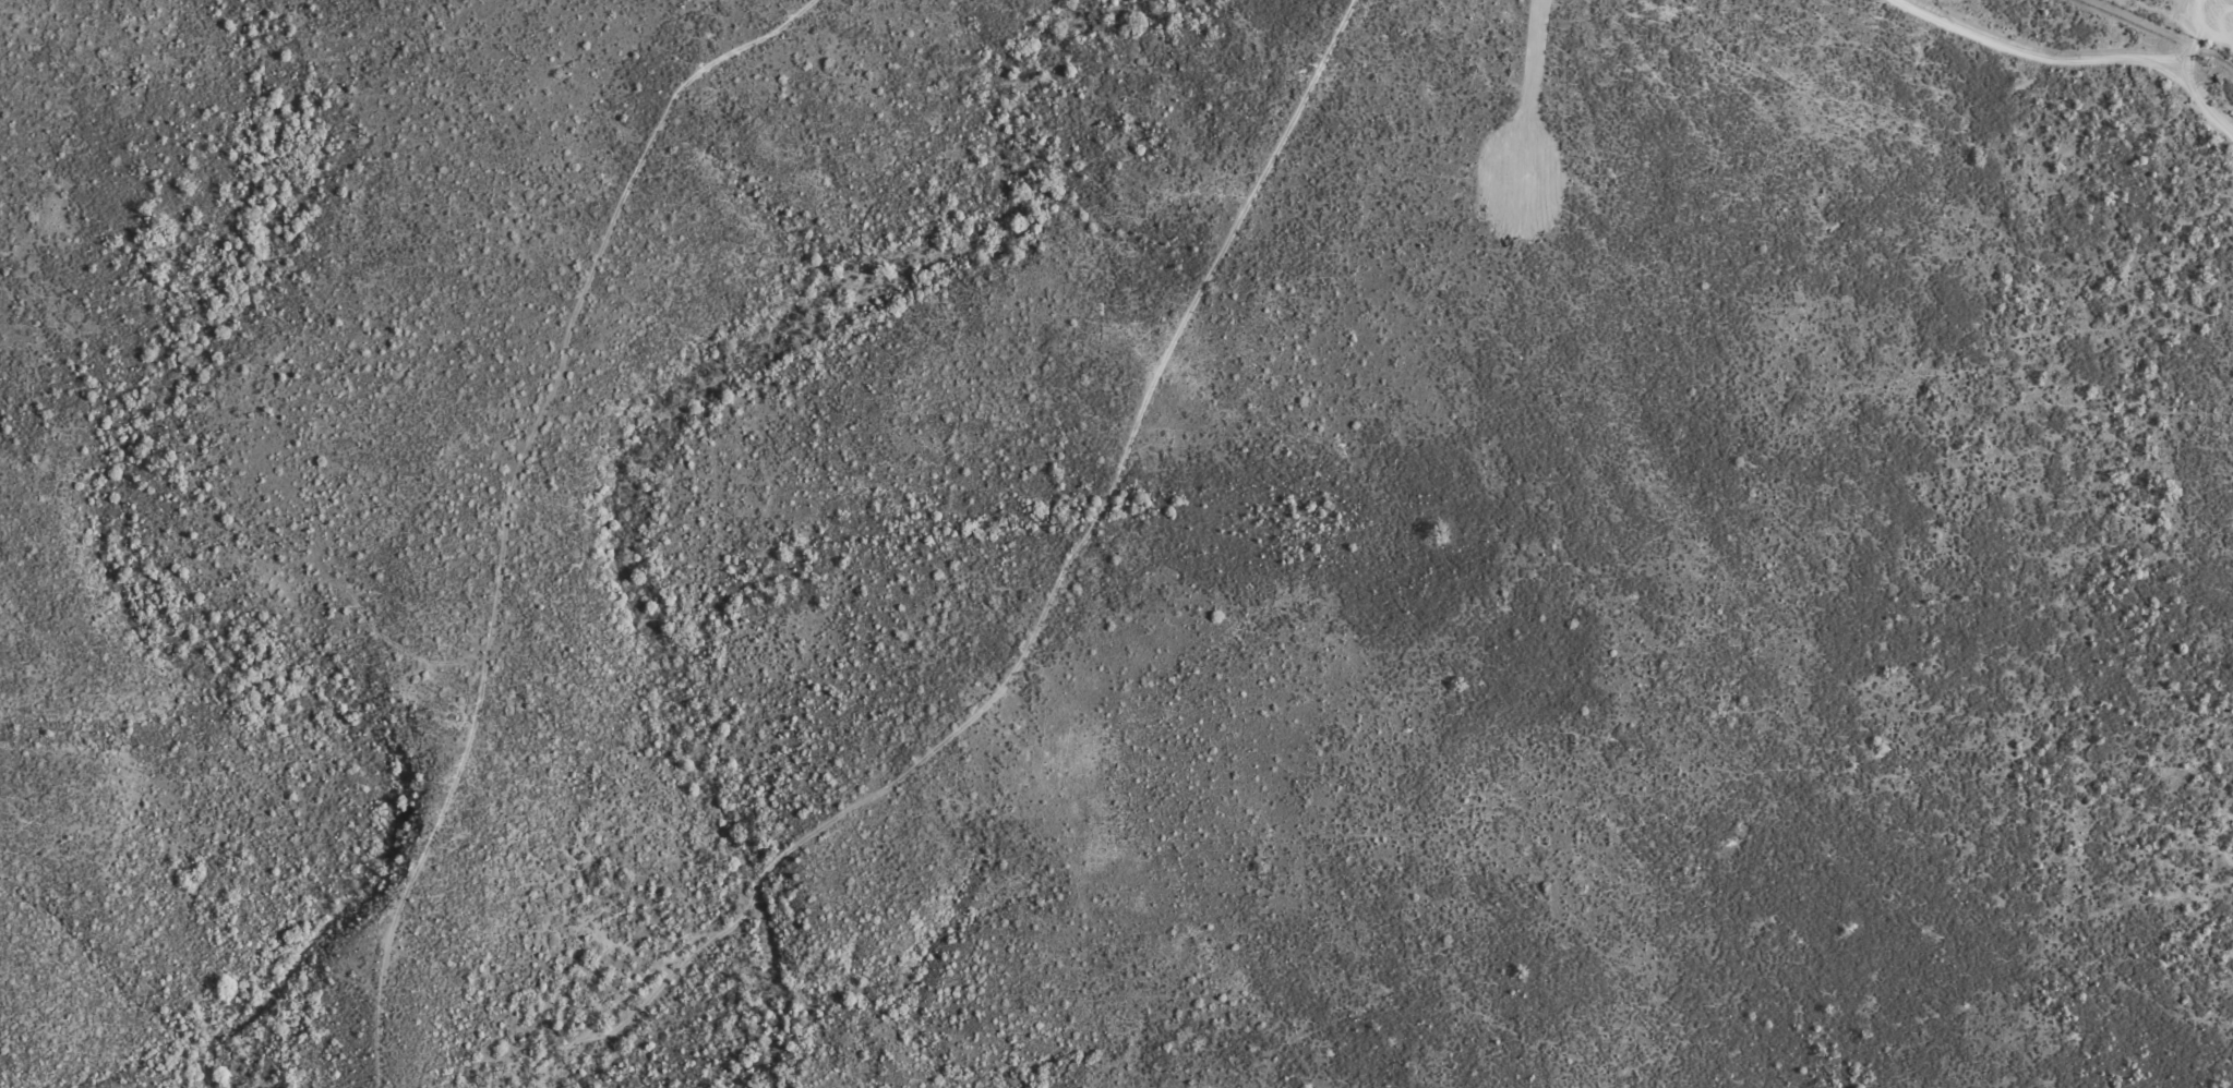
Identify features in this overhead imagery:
road: (2197, 71)

